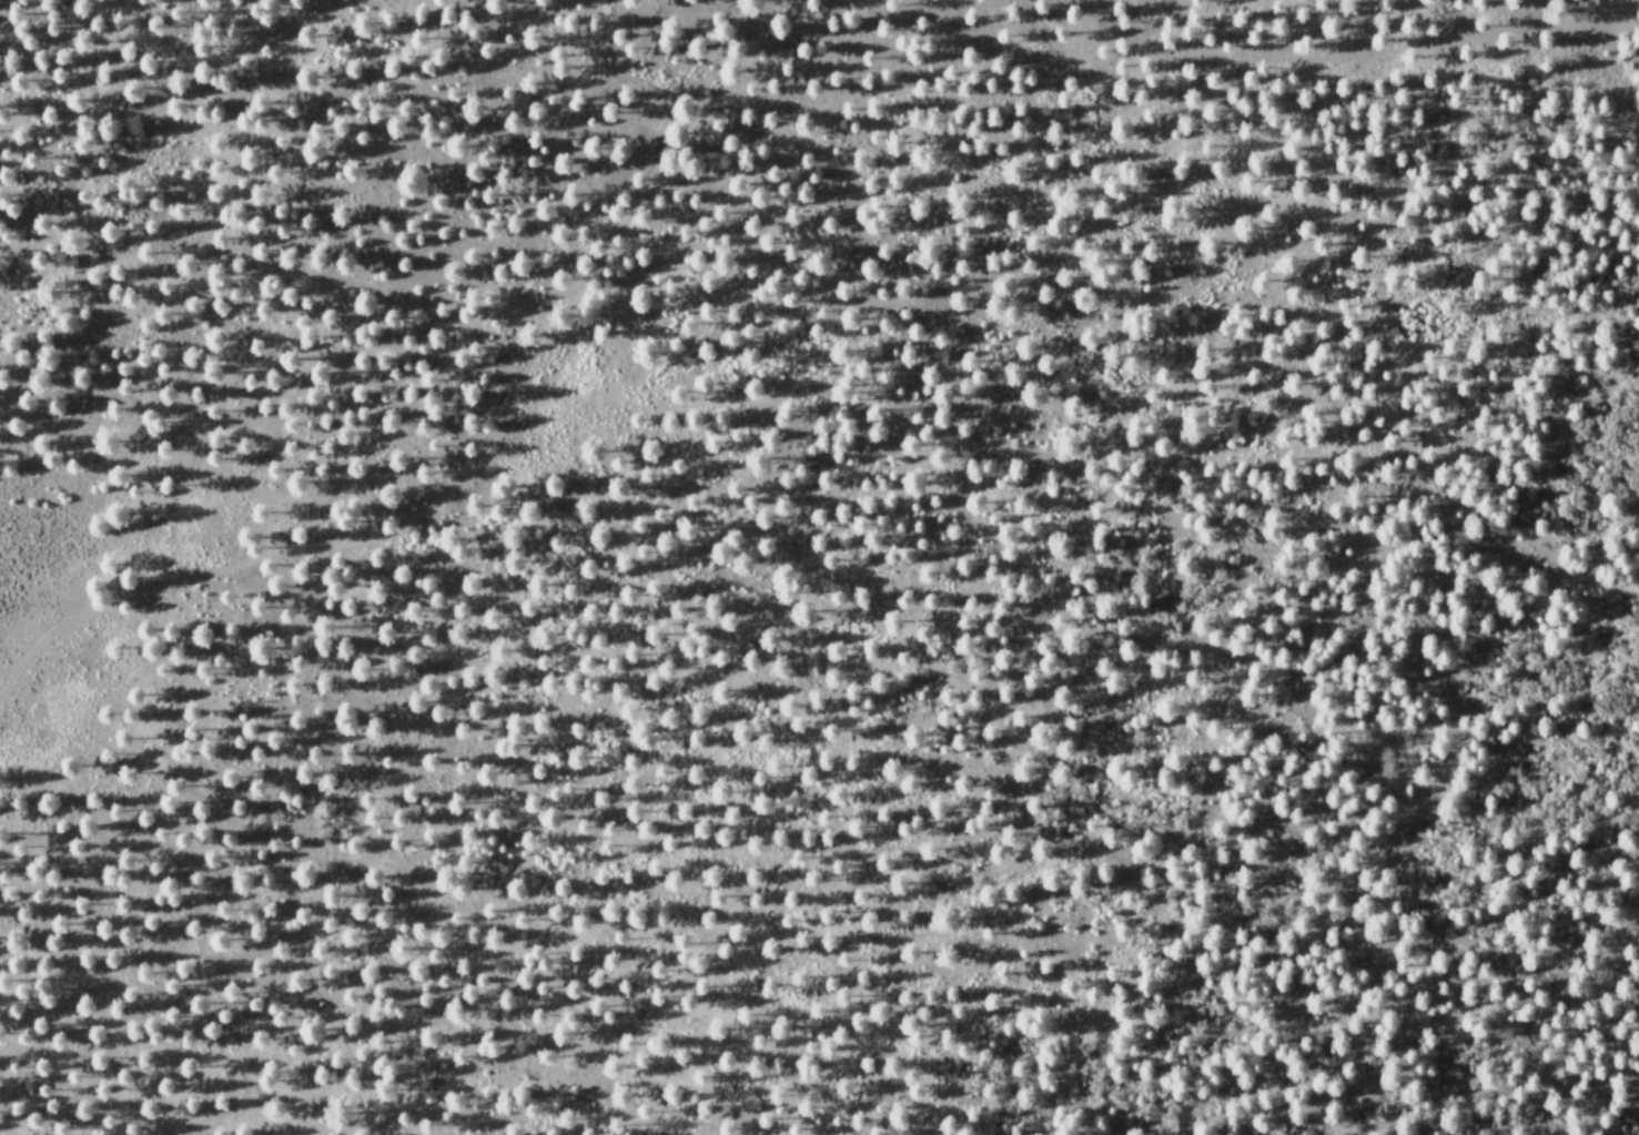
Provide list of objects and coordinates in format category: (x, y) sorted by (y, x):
road: (50, 807)

